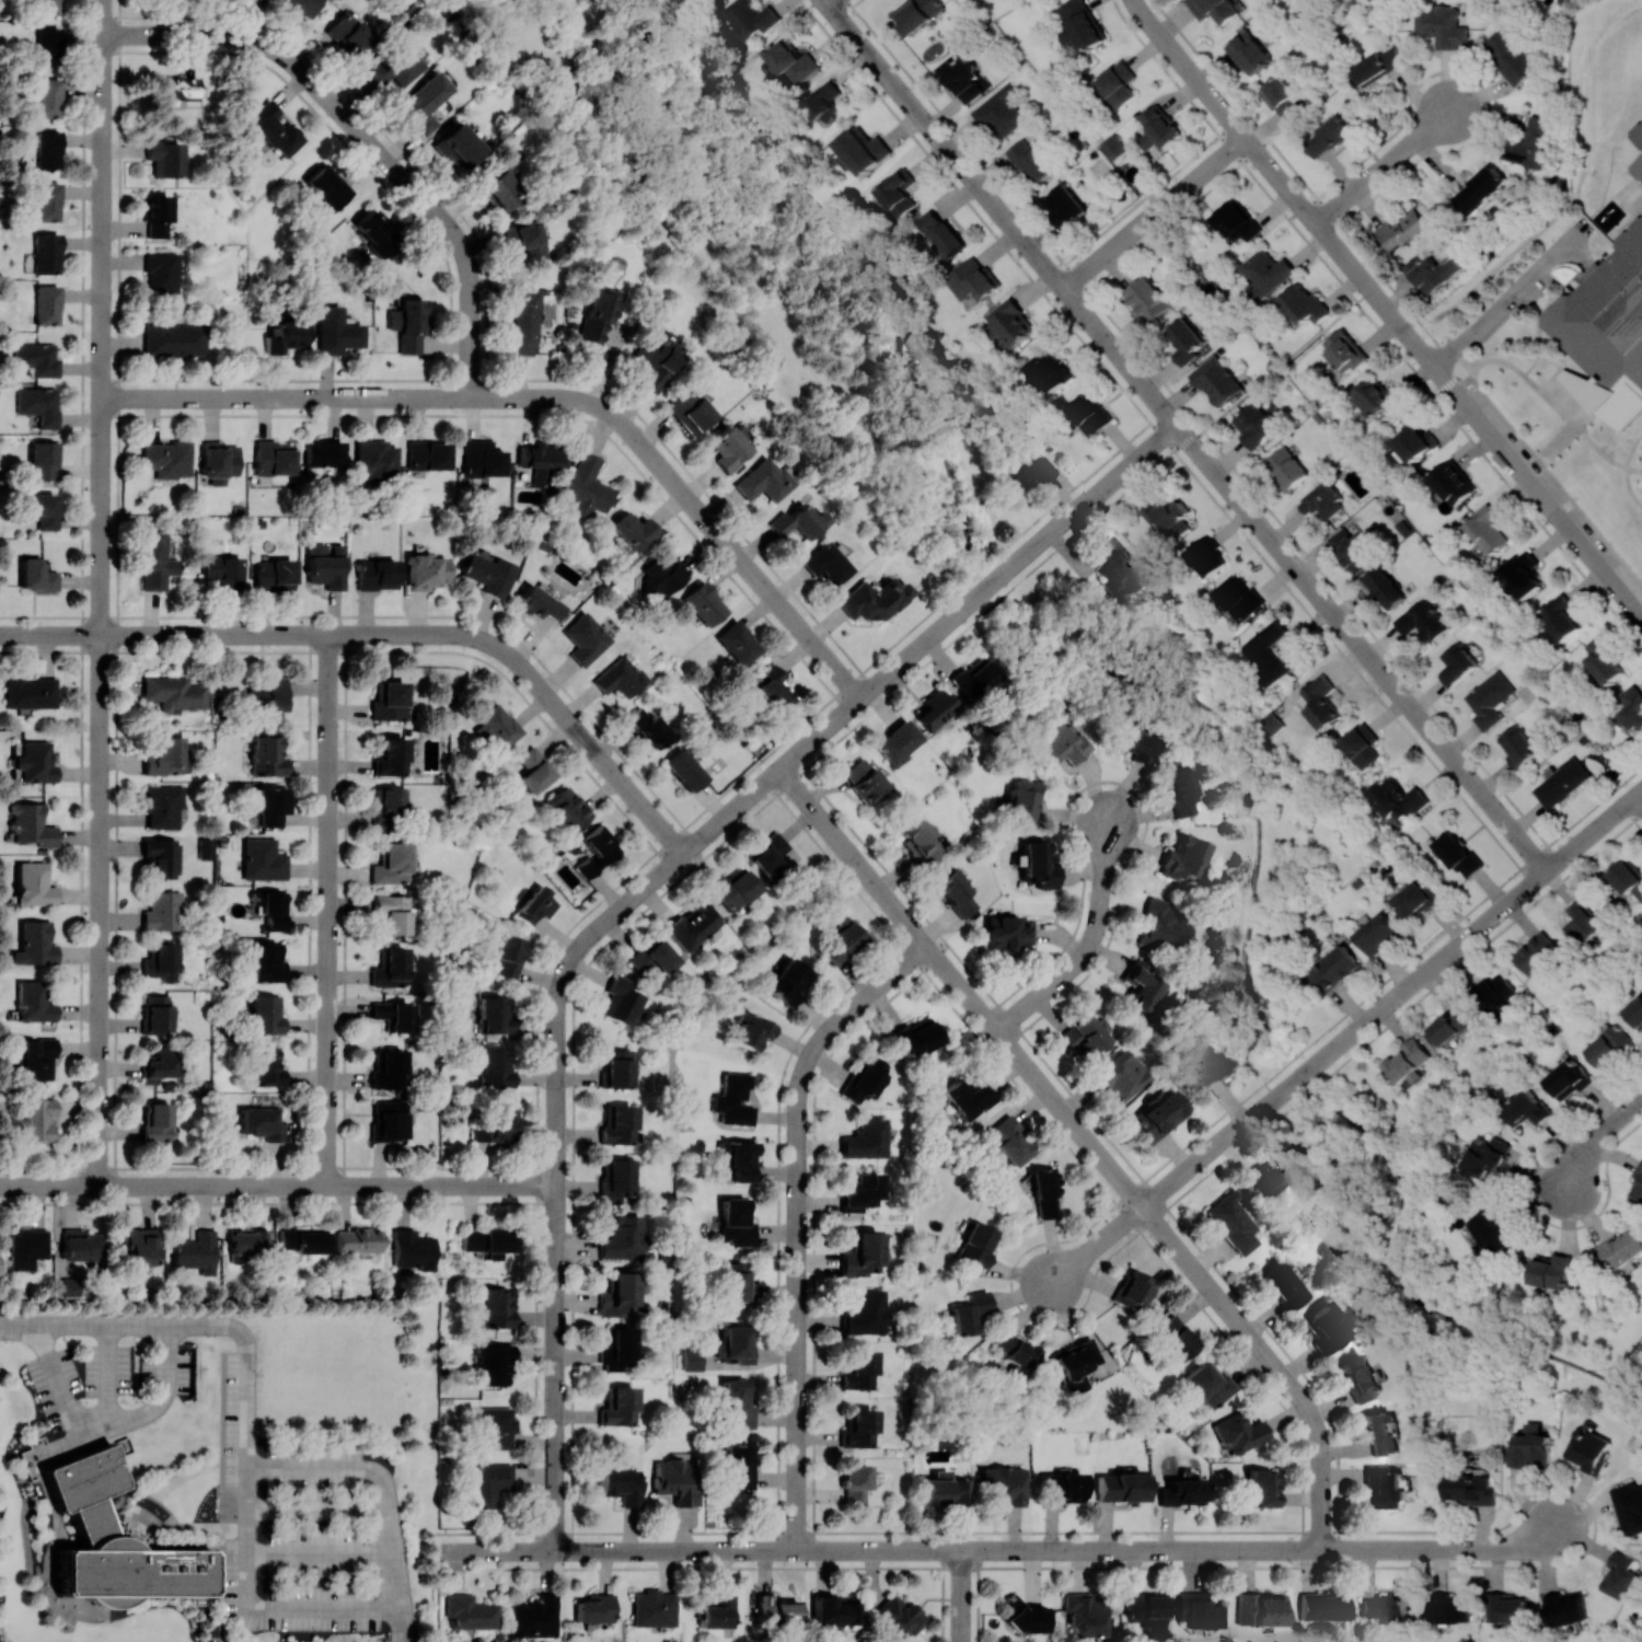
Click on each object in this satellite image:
road: (831, 2)
road: (854, 2)
building: (46, 7)
building: (304, 7)
building: (1213, 9)
building: (915, 13)
road: (104, 18)
building: (750, 18)
building: (1080, 24)
building: (1439, 25)
building: (348, 34)
road: (763, 42)
building: (46, 46)
building: (1248, 51)
building: (1511, 57)
building: (398, 62)
building: (790, 63)
building: (1377, 65)
building: (961, 78)
building: (1118, 83)
building: (1640, 88)
building: (181, 89)
road: (699, 94)
building: (46, 97)
building: (1282, 97)
building: (426, 102)
building: (825, 103)
road: (685, 106)
building: (1619, 112)
building: (1159, 128)
building: (276, 129)
road: (366, 136)
building: (1329, 136)
building: (1638, 136)
building: (1529, 142)
building: (460, 146)
building: (1112, 146)
building: (46, 149)
building: (862, 150)
building: (163, 157)
building: (1032, 161)
road: (1383, 165)
road: (1267, 169)
building: (1638, 170)
building: (328, 186)
building: (501, 188)
building: (1478, 189)
building: (898, 192)
building: (46, 201)
building: (1065, 205)
building: (155, 215)
road: (1152, 215)
building: (1236, 222)
building: (1403, 229)
building: (375, 232)
building: (940, 232)
road: (1570, 236)
building: (525, 240)
building: (45, 252)
road: (1576, 254)
building: (160, 271)
building: (1265, 273)
building: (1433, 273)
building: (972, 279)
road: (1396, 293)
building: (1146, 299)
building: (1304, 303)
building: (46, 304)
road: (1500, 305)
building: (600, 315)
building: (524, 322)
building: (1609, 322)
building: (1008, 323)
building: (407, 324)
building: (334, 331)
road: (103, 335)
building: (284, 336)
building: (173, 339)
building: (1186, 342)
building: (1344, 350)
building: (36, 358)
building: (656, 360)
building: (1049, 371)
building: (1216, 381)
road: (1540, 391)
road: (1145, 392)
building: (1377, 396)
road: (548, 398)
building: (38, 405)
building: (689, 410)
building: (1090, 414)
road: (1479, 423)
building: (1253, 424)
road: (1576, 427)
building: (1414, 441)
building: (728, 448)
building: (325, 453)
building: (428, 454)
building: (540, 456)
building: (167, 458)
building: (274, 458)
building: (482, 458)
building: (43, 460)
building: (219, 461)
building: (375, 461)
building: (1024, 466)
building: (1286, 467)
road: (1624, 469)
building: (764, 479)
building: (1453, 482)
building: (588, 486)
building: (1321, 502)
building: (43, 509)
building: (1168, 516)
road: (1069, 517)
building: (796, 521)
building: (1487, 530)
building: (633, 532)
building: (1352, 550)
building: (1206, 556)
building: (153, 559)
building: (826, 563)
road: (1598, 563)
building: (325, 565)
building: (1119, 567)
building: (222, 570)
building: (426, 570)
building: (377, 574)
building: (489, 574)
building: (1523, 574)
building: (36, 575)
building: (274, 575)
building: (663, 575)
building: (1384, 588)
building: (1238, 598)
building: (874, 600)
building: (539, 602)
building: (704, 603)
building: (1562, 617)
building: (1422, 620)
road: (941, 631)
road: (238, 635)
building: (585, 637)
building: (738, 643)
park: (1041, 647)
building: (1271, 651)
building: (1604, 661)
building: (1456, 663)
building: (620, 677)
building: (975, 678)
road: (537, 683)
building: (773, 686)
building: (31, 692)
building: (174, 692)
building: (268, 695)
building: (1489, 698)
building: (389, 701)
building: (1321, 702)
building: (1632, 707)
building: (936, 709)
building: (1271, 722)
building: (648, 726)
building: (497, 727)
building: (898, 741)
building: (1059, 744)
building: (1137, 744)
building: (1362, 745)
building: (1520, 745)
road: (592, 748)
building: (164, 756)
building: (265, 756)
building: (390, 756)
building: (35, 762)
building: (535, 770)
building: (684, 770)
building: (864, 779)
building: (1561, 782)
building: (1180, 790)
road: (758, 791)
road: (1481, 795)
road: (1639, 798)
building: (1024, 799)
building: (1397, 799)
building: (389, 801)
road: (641, 803)
building: (270, 805)
building: (163, 806)
building: (569, 808)
building: (31, 824)
road: (1517, 837)
building: (917, 840)
building: (205, 847)
building: (598, 851)
building: (1458, 854)
building: (161, 856)
building: (770, 856)
building: (262, 859)
building: (1183, 859)
building: (1039, 863)
building: (391, 864)
building: (1628, 877)
building: (33, 884)
building: (733, 888)
building: (955, 893)
building: (1415, 900)
building: (535, 905)
building: (270, 907)
road: (101, 910)
road: (329, 910)
building: (163, 911)
building: (392, 912)
building: (1580, 923)
building: (693, 925)
building: (1164, 926)
building: (1008, 932)
building: (1377, 934)
building: (843, 938)
road: (1456, 940)
building: (34, 944)
road: (1091, 944)
building: (1535, 952)
building: (508, 953)
building: (652, 958)
building: (161, 961)
building: (267, 962)
building: (389, 967)
building: (1335, 968)
building: (789, 981)
building: (1142, 982)
building: (1496, 993)
building: (621, 1001)
building: (34, 1002)
building: (158, 1013)
building: (1635, 1013)
building: (265, 1014)
building: (393, 1015)
building: (495, 1015)
building: (1449, 1025)
building: (751, 1030)
building: (1083, 1036)
building: (917, 1037)
building: (1611, 1045)
building: (36, 1059)
building: (1407, 1062)
building: (1216, 1064)
building: (160, 1065)
building: (266, 1065)
building: (495, 1067)
building: (616, 1067)
building: (388, 1068)
building: (1120, 1075)
building: (865, 1078)
building: (1568, 1079)
building: (968, 1098)
building: (735, 1099)
road: (1260, 1108)
building: (1526, 1108)
building: (1158, 1114)
building: (389, 1119)
building: (37, 1120)
building: (263, 1120)
building: (157, 1122)
building: (616, 1123)
building: (495, 1126)
road: (1593, 1137)
building: (866, 1138)
building: (1009, 1141)
road: (1092, 1144)
building: (1487, 1156)
building: (740, 1158)
road: (1195, 1164)
building: (1272, 1175)
building: (614, 1179)
building: (1638, 1184)
road: (279, 1186)
building: (1045, 1191)
building: (862, 1192)
building: (737, 1222)
road: (800, 1222)
building: (1233, 1222)
building: (1494, 1231)
road: (557, 1235)
building: (624, 1238)
building: (358, 1239)
building: (302, 1240)
building: (488, 1240)
building: (140, 1244)
building: (246, 1244)
building: (978, 1244)
building: (81, 1245)
building: (26, 1248)
building: (1621, 1248)
building: (413, 1249)
road: (1094, 1249)
building: (195, 1251)
building: (860, 1254)
building: (1551, 1271)
building: (737, 1282)
building: (1283, 1285)
building: (1134, 1290)
building: (618, 1294)
road: (1015, 1297)
building: (497, 1307)
building: (865, 1313)
building: (969, 1313)
road: (188, 1325)
building: (1326, 1328)
building: (1175, 1339)
building: (735, 1343)
building: (616, 1349)
building: (1018, 1353)
building: (692, 1360)
building: (495, 1363)
building: (1076, 1365)
road: (106, 1371)
building: (858, 1371)
building: (1358, 1376)
building: (1210, 1384)
building: (737, 1403)
building: (618, 1406)
road: (108, 1416)
building: (496, 1427)
building: (859, 1427)
building: (1240, 1432)
building: (1379, 1433)
building: (1531, 1447)
building: (1588, 1449)
building: (738, 1466)
building: (677, 1480)
building: (489, 1482)
building: (854, 1483)
building: (621, 1484)
building: (1004, 1484)
building: (1120, 1487)
building: (1063, 1488)
building: (1262, 1488)
building: (1384, 1488)
building: (944, 1489)
building: (1469, 1489)
road: (386, 1490)
building: (1181, 1492)
road: (1584, 1501)
building: (1629, 1506)
road: (319, 1507)
building: (115, 1538)
road: (761, 1550)
road: (860, 1550)
road: (939, 1550)
road: (1262, 1550)
road: (563, 1551)
road: (701, 1551)
road: (320, 1552)
building: (1622, 1575)
road: (962, 1596)
road: (433, 1605)
road: (255, 1606)
building: (1322, 1606)
building: (1384, 1606)
building: (1505, 1607)
building: (595, 1608)
building: (655, 1608)
building: (1147, 1608)
building: (1261, 1608)
building: (1449, 1608)
building: (1565, 1608)
building: (833, 1609)
building: (775, 1610)
building: (1199, 1610)
building: (471, 1611)
building: (717, 1611)
building: (1088, 1614)
building: (1021, 1615)
building: (899, 1616)
building: (535, 1617)

